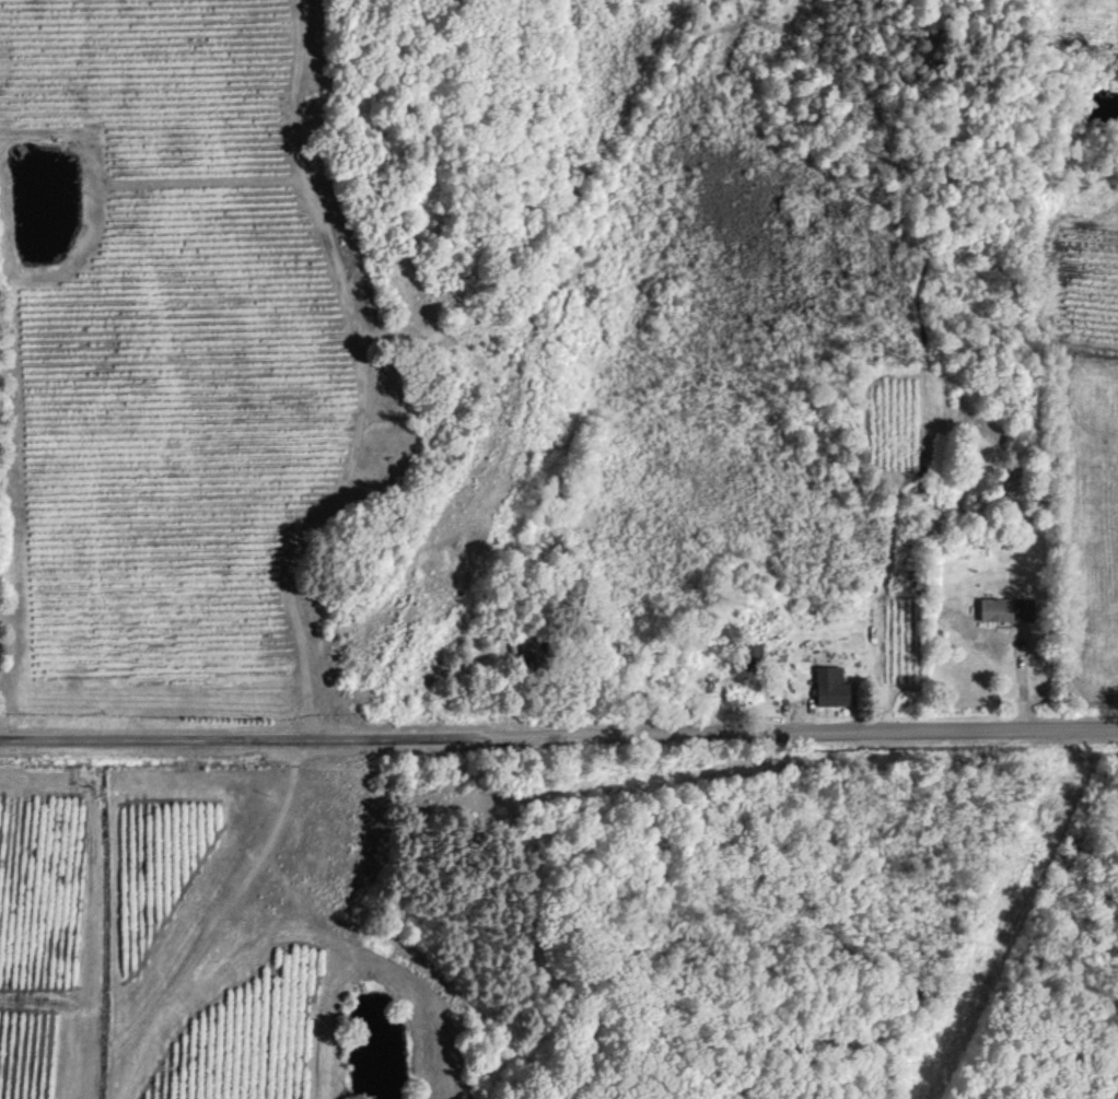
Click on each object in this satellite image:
building: (995, 608)
building: (831, 685)
road: (559, 733)

